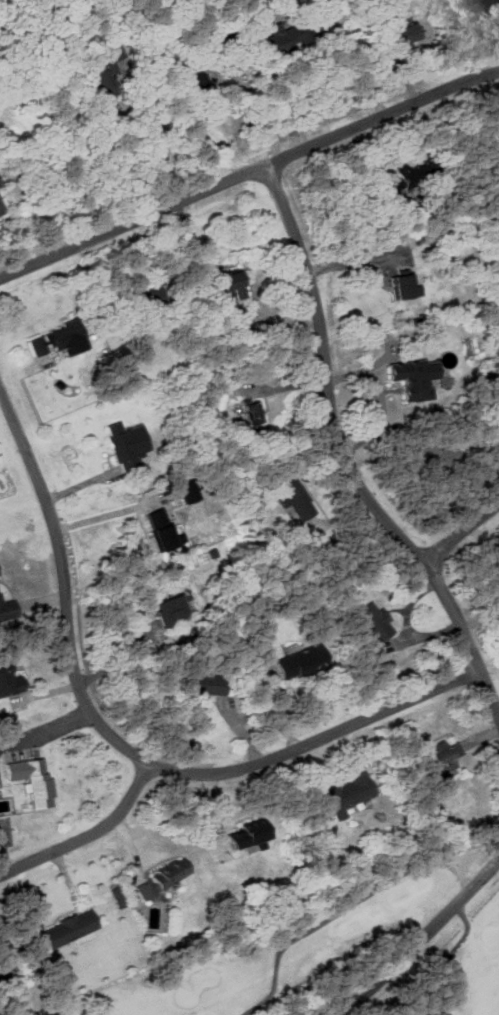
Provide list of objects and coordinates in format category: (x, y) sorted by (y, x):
building: (408, 34)
building: (282, 38)
road: (359, 67)
building: (100, 81)
road: (260, 110)
road: (138, 166)
road: (250, 173)
building: (417, 175)
building: (0, 211)
building: (233, 284)
building: (403, 288)
building: (63, 339)
building: (416, 378)
building: (251, 413)
building: (128, 445)
road: (343, 462)
building: (298, 499)
road: (99, 517)
road: (460, 528)
building: (167, 539)
building: (0, 575)
building: (176, 609)
building: (9, 610)
building: (378, 622)
building: (306, 660)
building: (10, 679)
building: (211, 682)
road: (44, 730)
road: (121, 747)
building: (445, 758)
building: (34, 779)
building: (349, 794)
road: (82, 834)
building: (252, 835)
building: (165, 878)
building: (73, 929)
road: (415, 936)
park: (328, 948)

